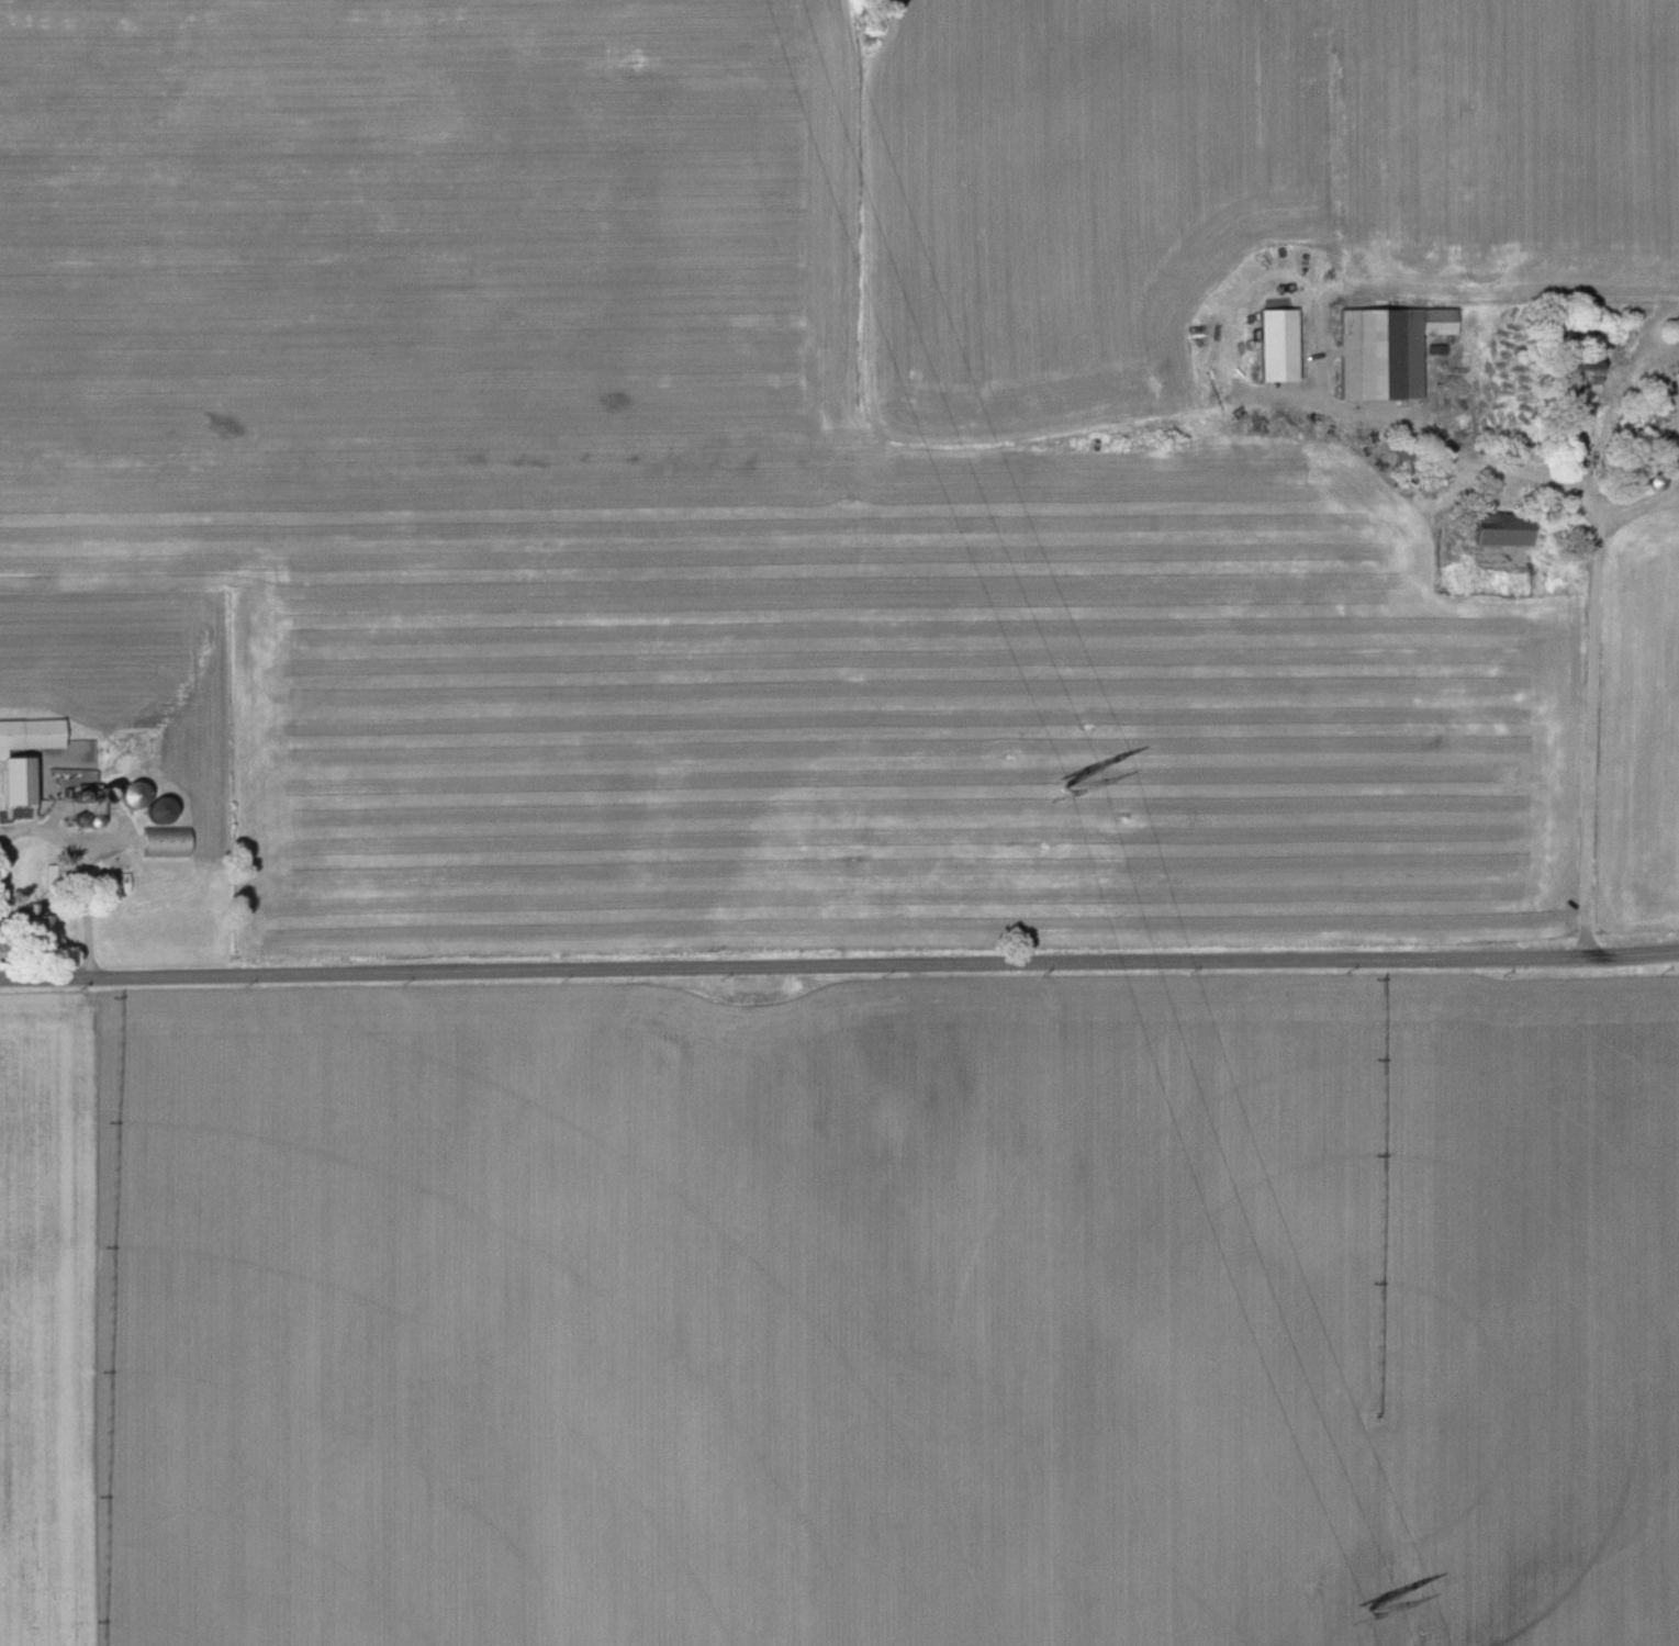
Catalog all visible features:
building: (1277, 346)
building: (1386, 351)
building: (1575, 370)
road: (1509, 475)
road: (1675, 480)
building: (1497, 529)
road: (1587, 739)
building: (23, 762)
power tower: (1059, 785)
road: (80, 875)
building: (34, 923)
road: (839, 965)
power tower: (1365, 1609)

